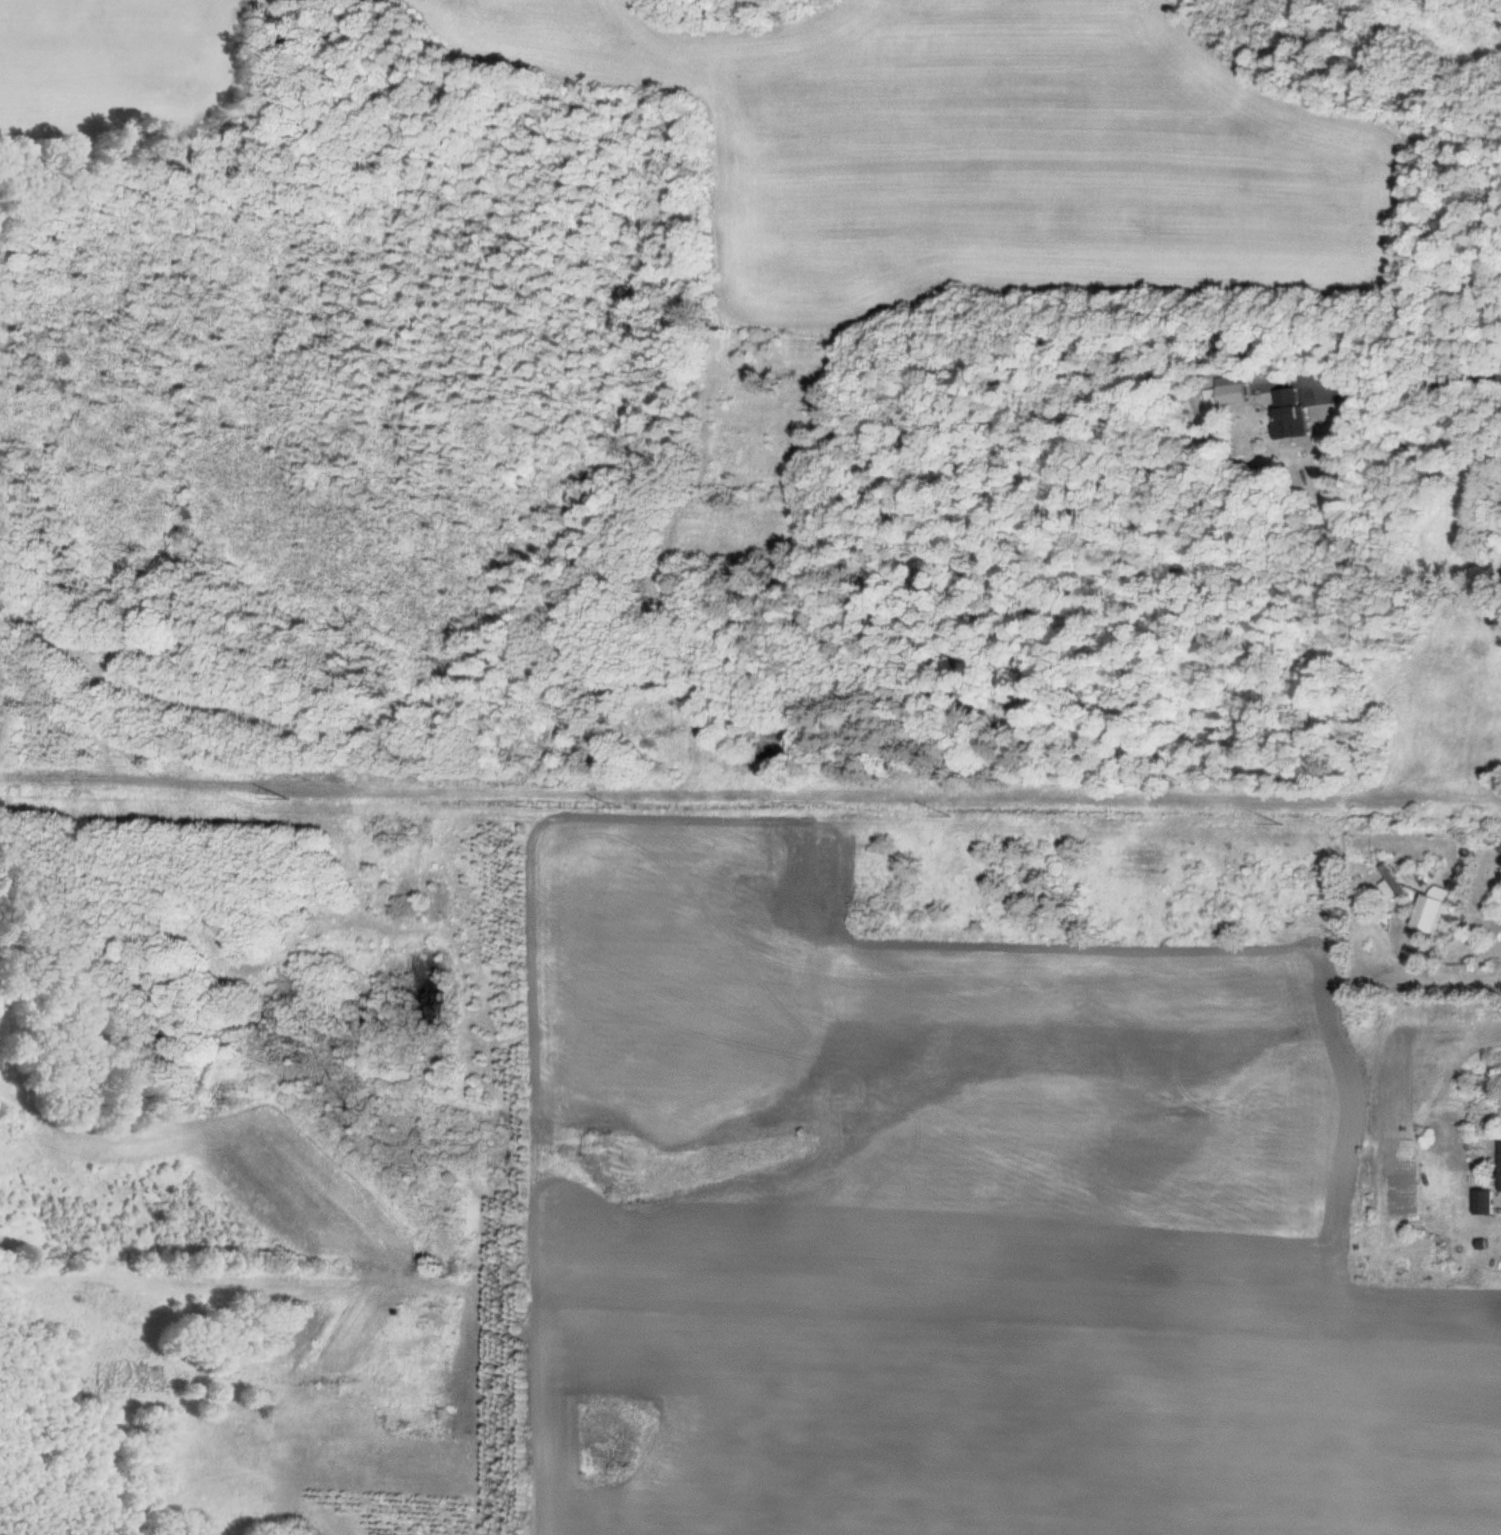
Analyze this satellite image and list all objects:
building: (1237, 388)
building: (1295, 411)
building: (1397, 884)
building: (1435, 912)
building: (1489, 1201)

